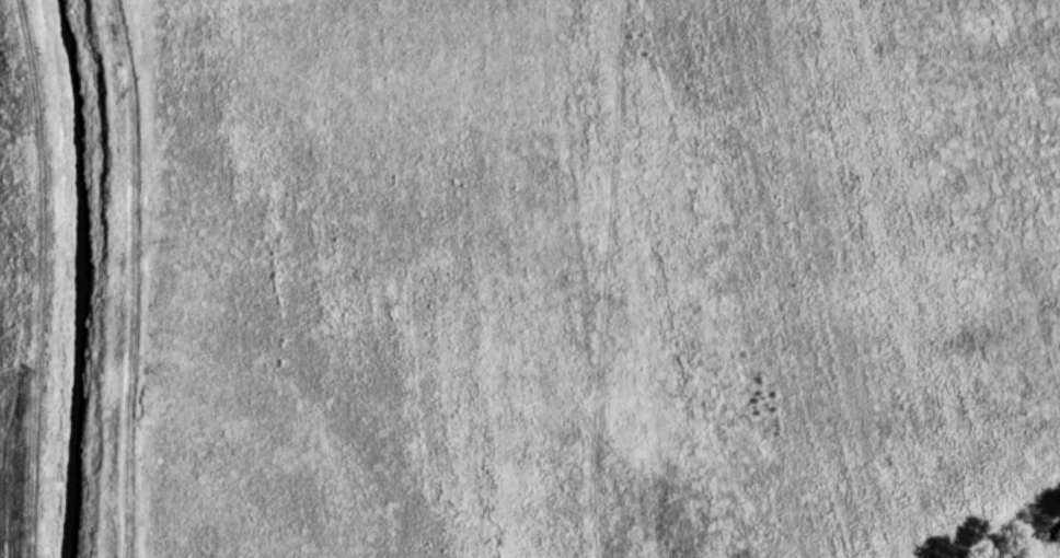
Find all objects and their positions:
road: (37, 278)

